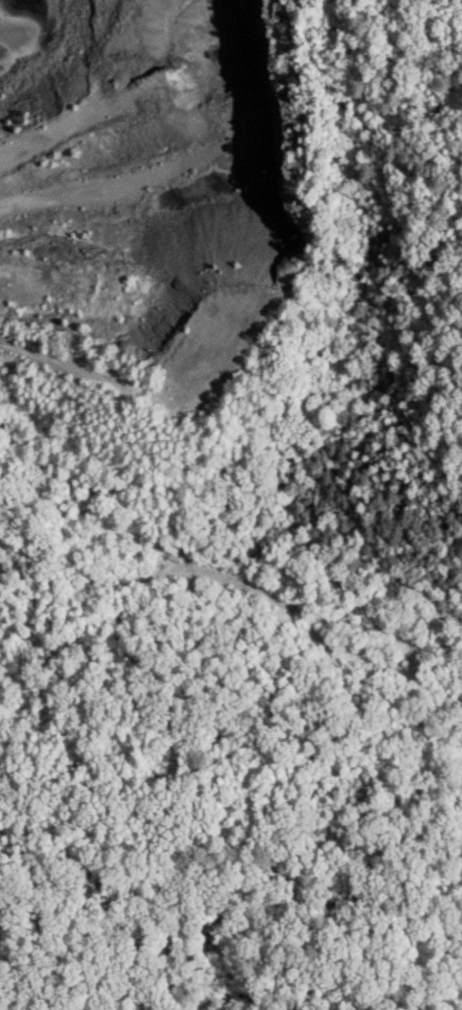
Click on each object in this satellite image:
road: (14, 52)

